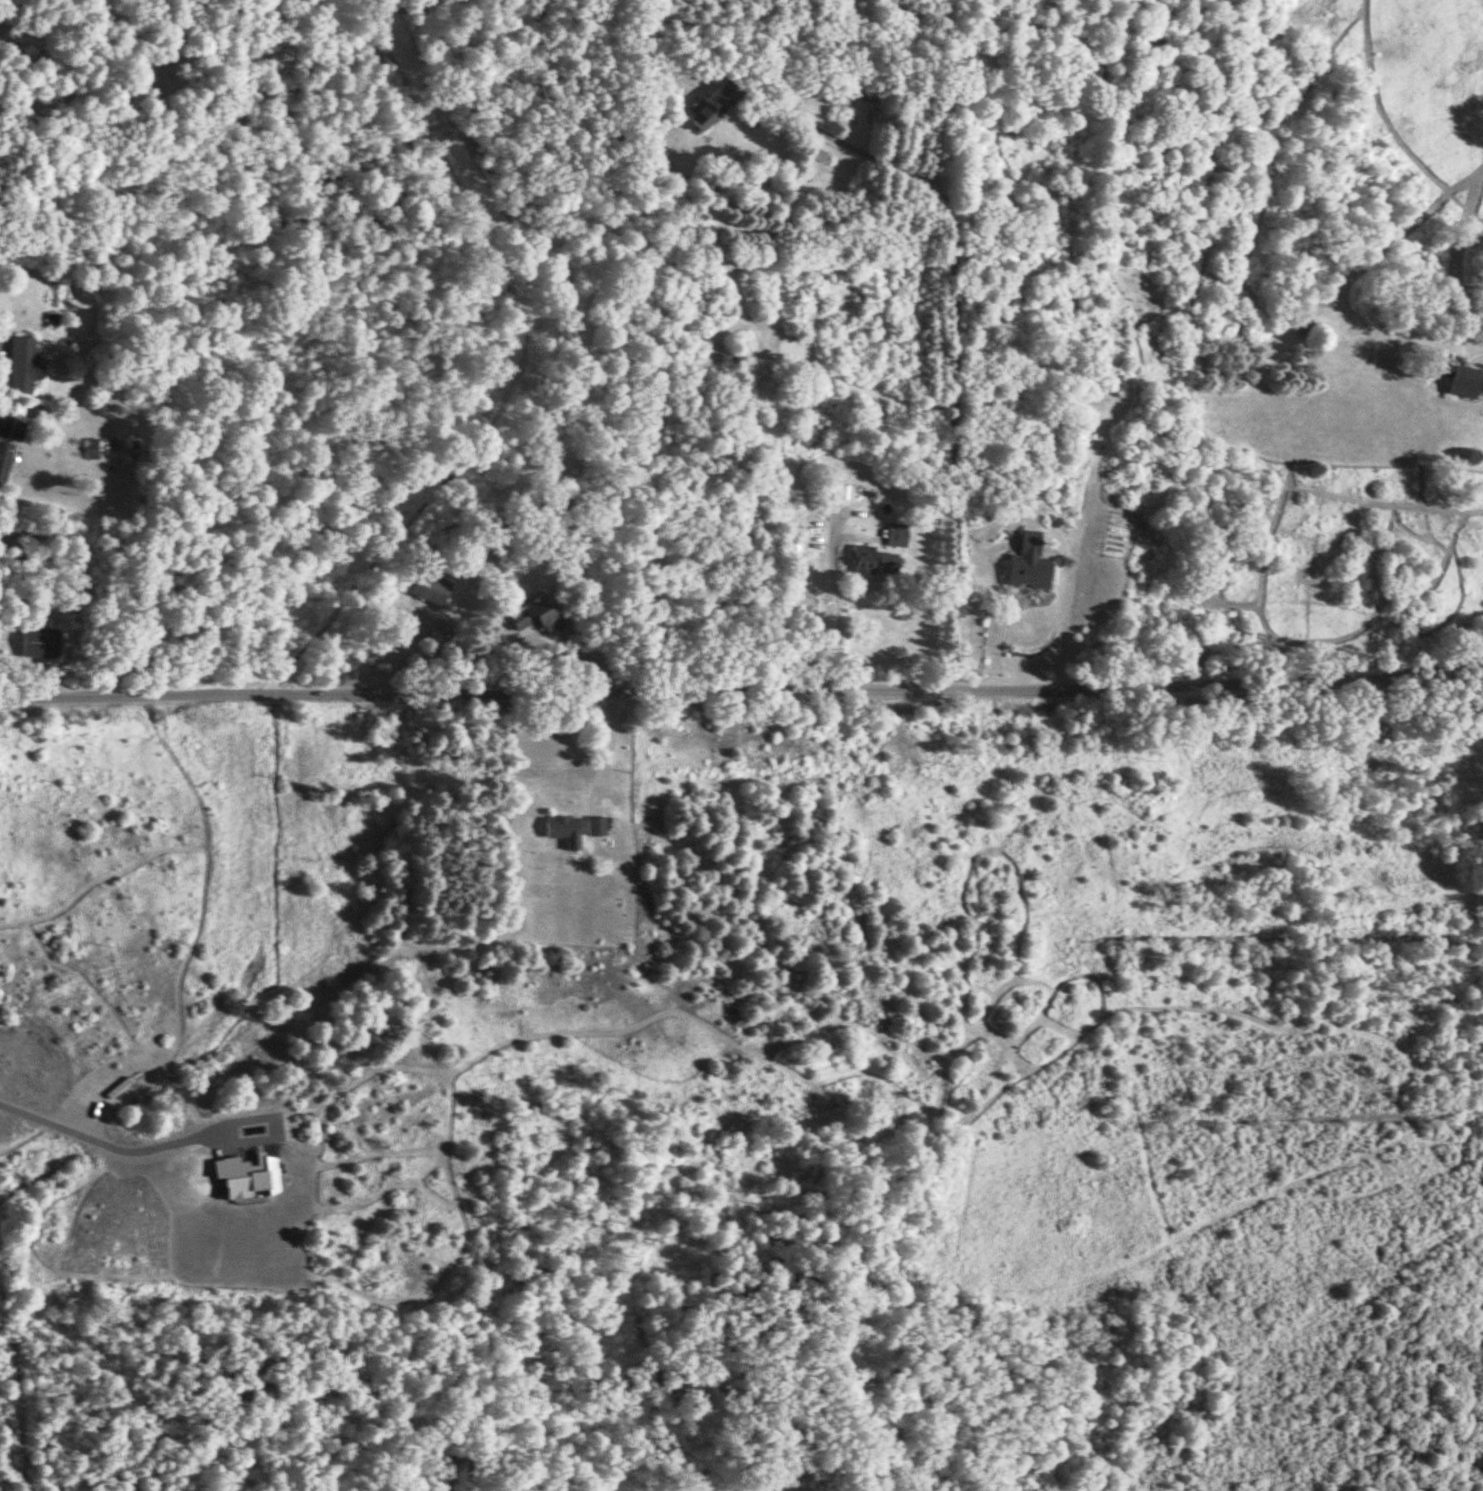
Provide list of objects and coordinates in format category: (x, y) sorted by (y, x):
building: (707, 106)
road: (948, 325)
building: (20, 364)
building: (1456, 378)
building: (9, 427)
building: (88, 447)
building: (3, 456)
building: (893, 533)
building: (859, 559)
building: (883, 561)
building: (1026, 562)
building: (427, 586)
road: (834, 612)
building: (531, 616)
road: (1000, 618)
building: (37, 641)
road: (569, 650)
road: (399, 651)
road: (745, 689)
road: (603, 749)
building: (592, 825)
building: (560, 829)
road: (107, 1145)
building: (241, 1175)

